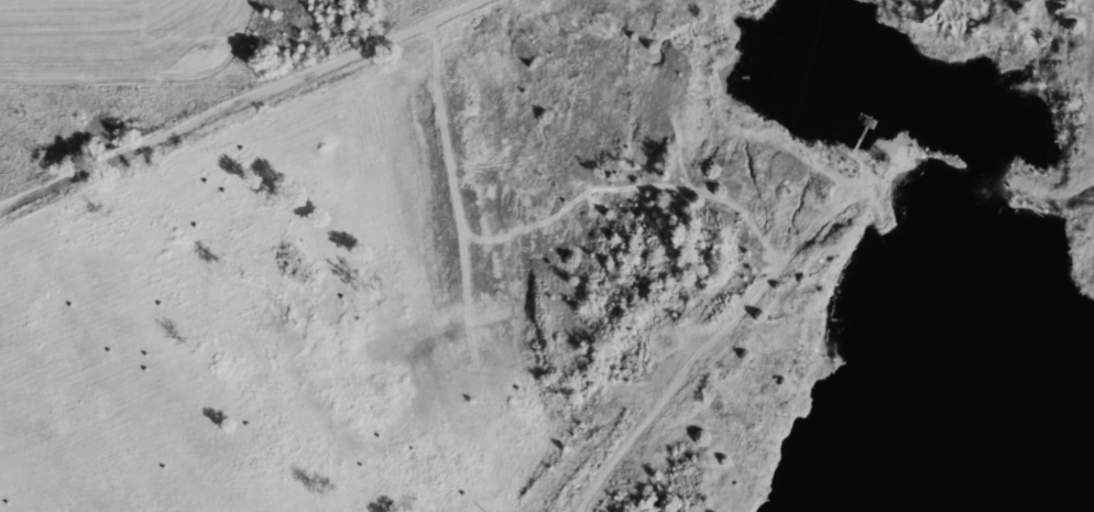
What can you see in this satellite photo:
road: (242, 106)

